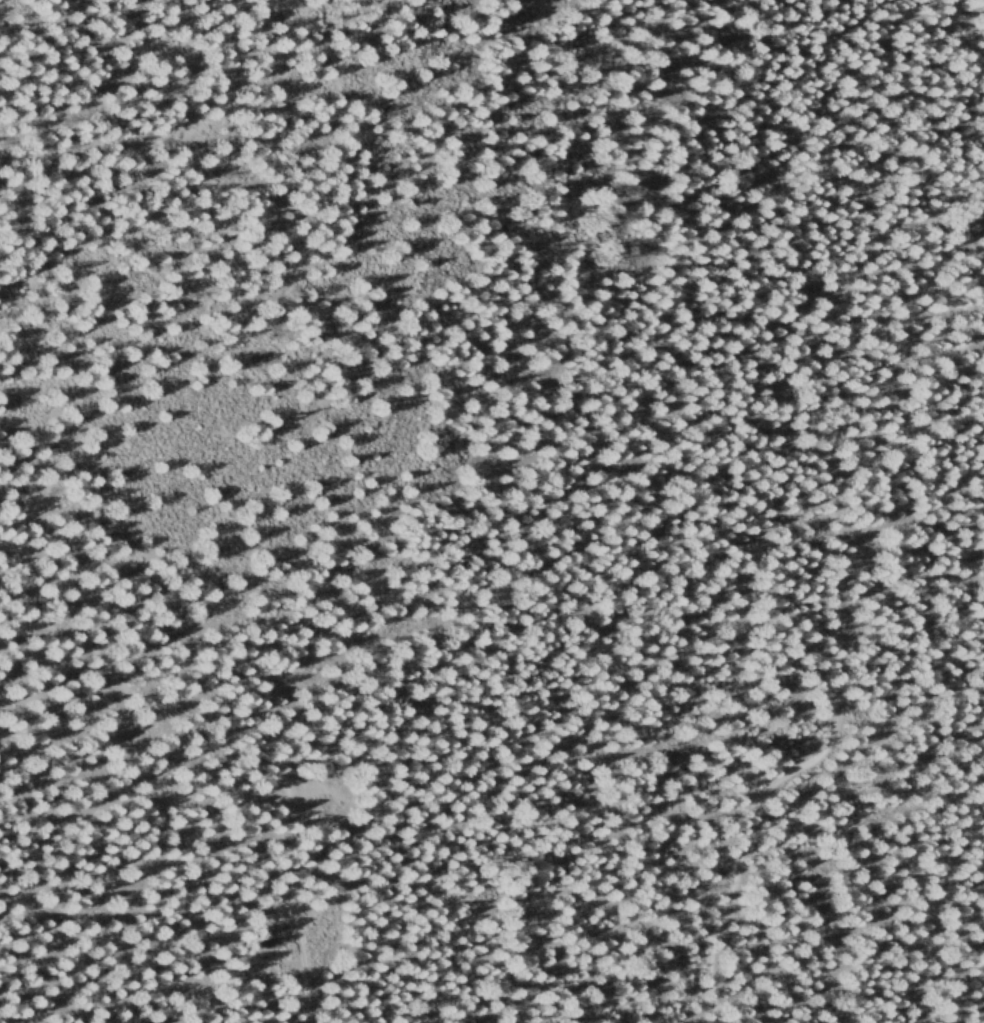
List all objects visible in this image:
road: (832, 654)
road: (306, 995)

